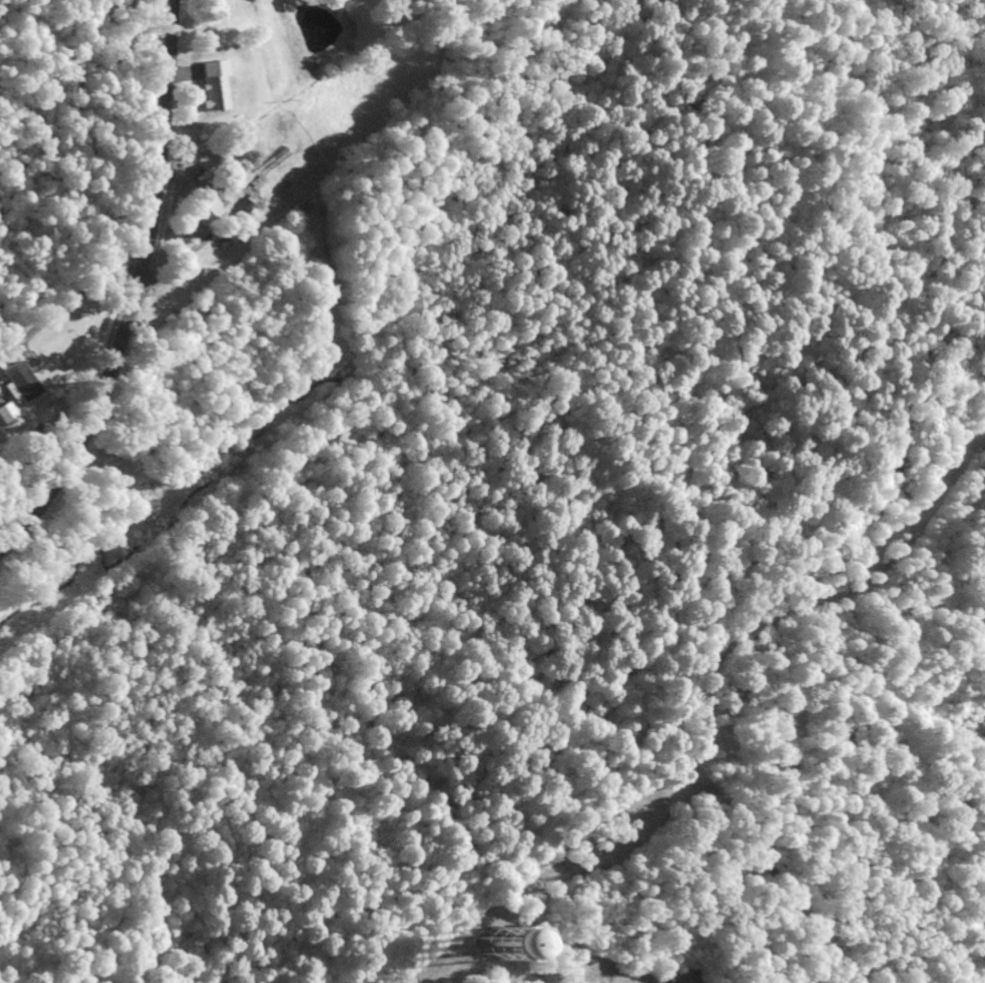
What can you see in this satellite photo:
building: (207, 86)
building: (202, 211)
road: (134, 291)
road: (74, 299)
building: (13, 392)
road: (193, 474)
road: (28, 692)
water tower: (487, 942)
water tower: (509, 945)
building: (478, 949)
road: (436, 979)

